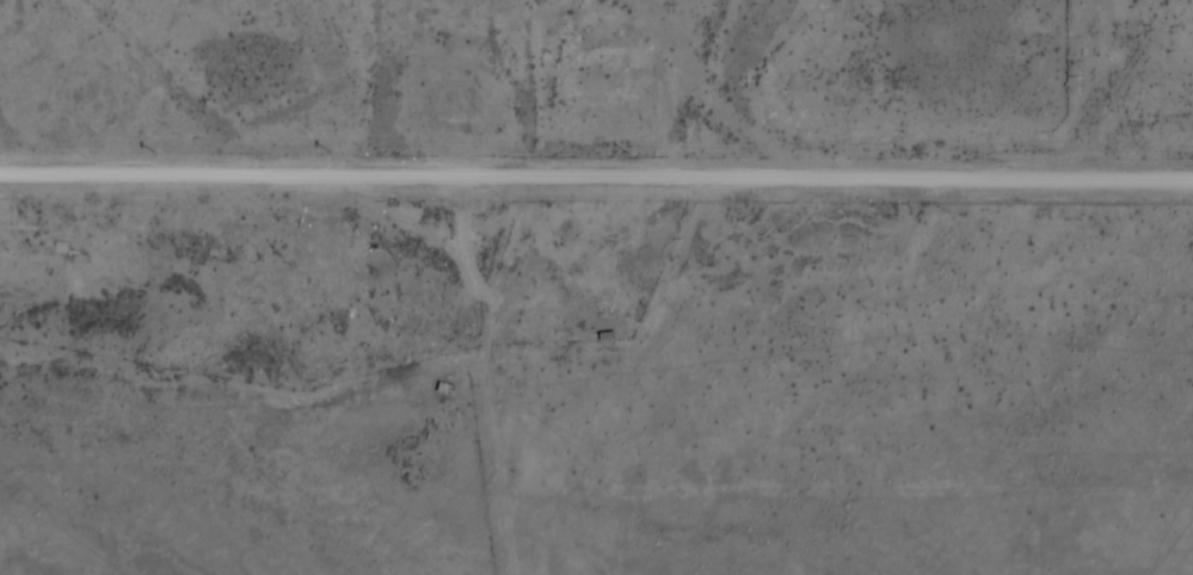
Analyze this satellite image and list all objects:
road: (596, 175)
road: (488, 375)

